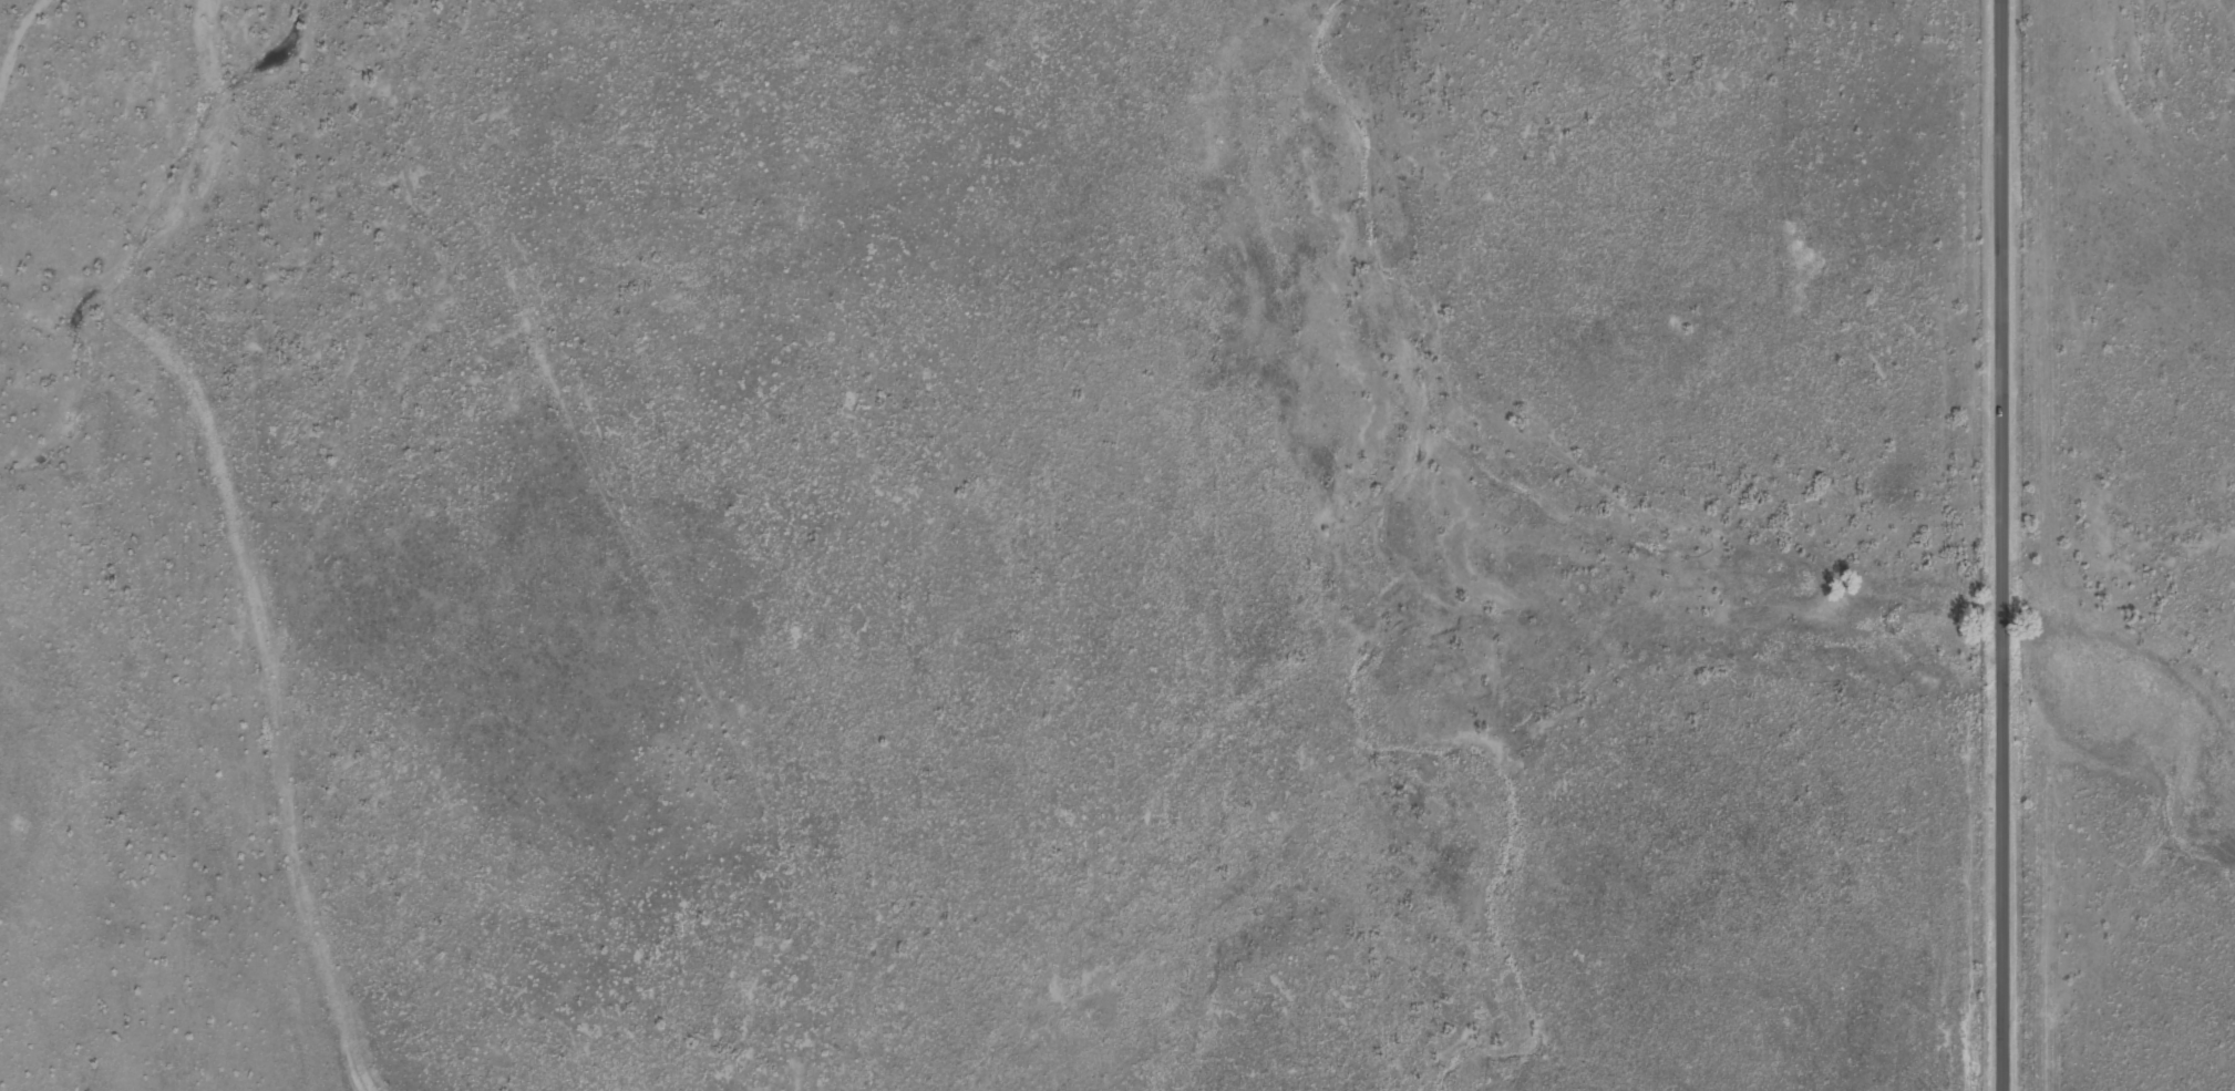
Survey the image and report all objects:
road: (2005, 545)

